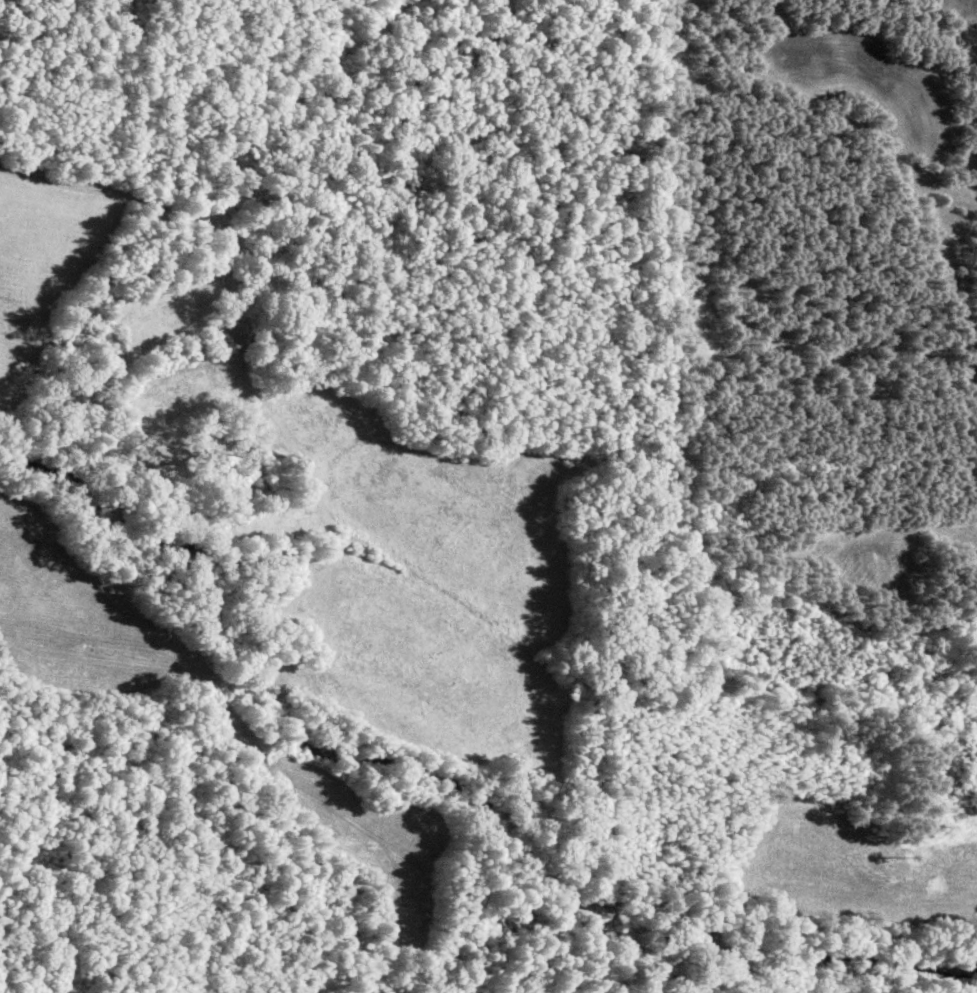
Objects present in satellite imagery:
road: (170, 219)

